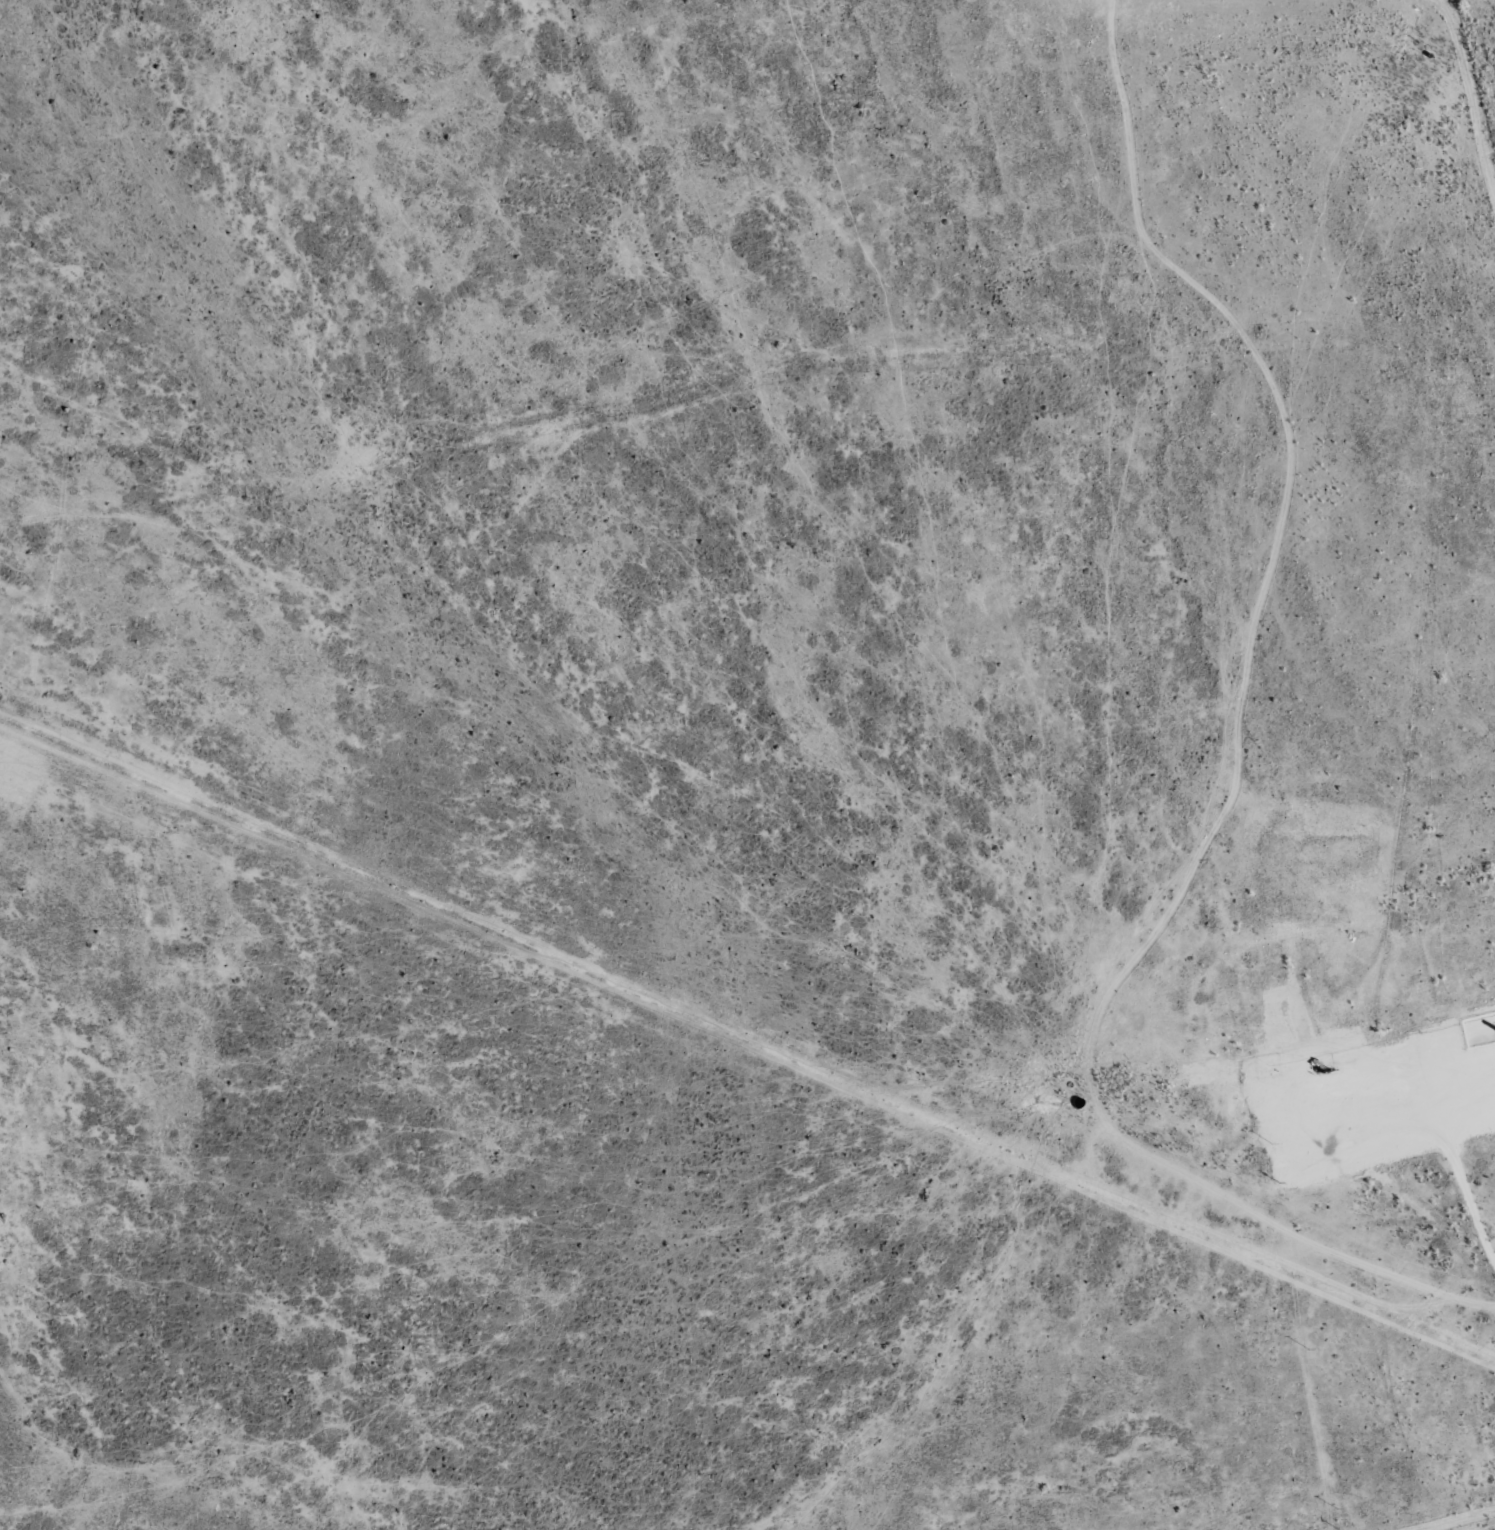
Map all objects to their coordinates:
road: (1381, 64)
road: (511, 86)
road: (1431, 745)

